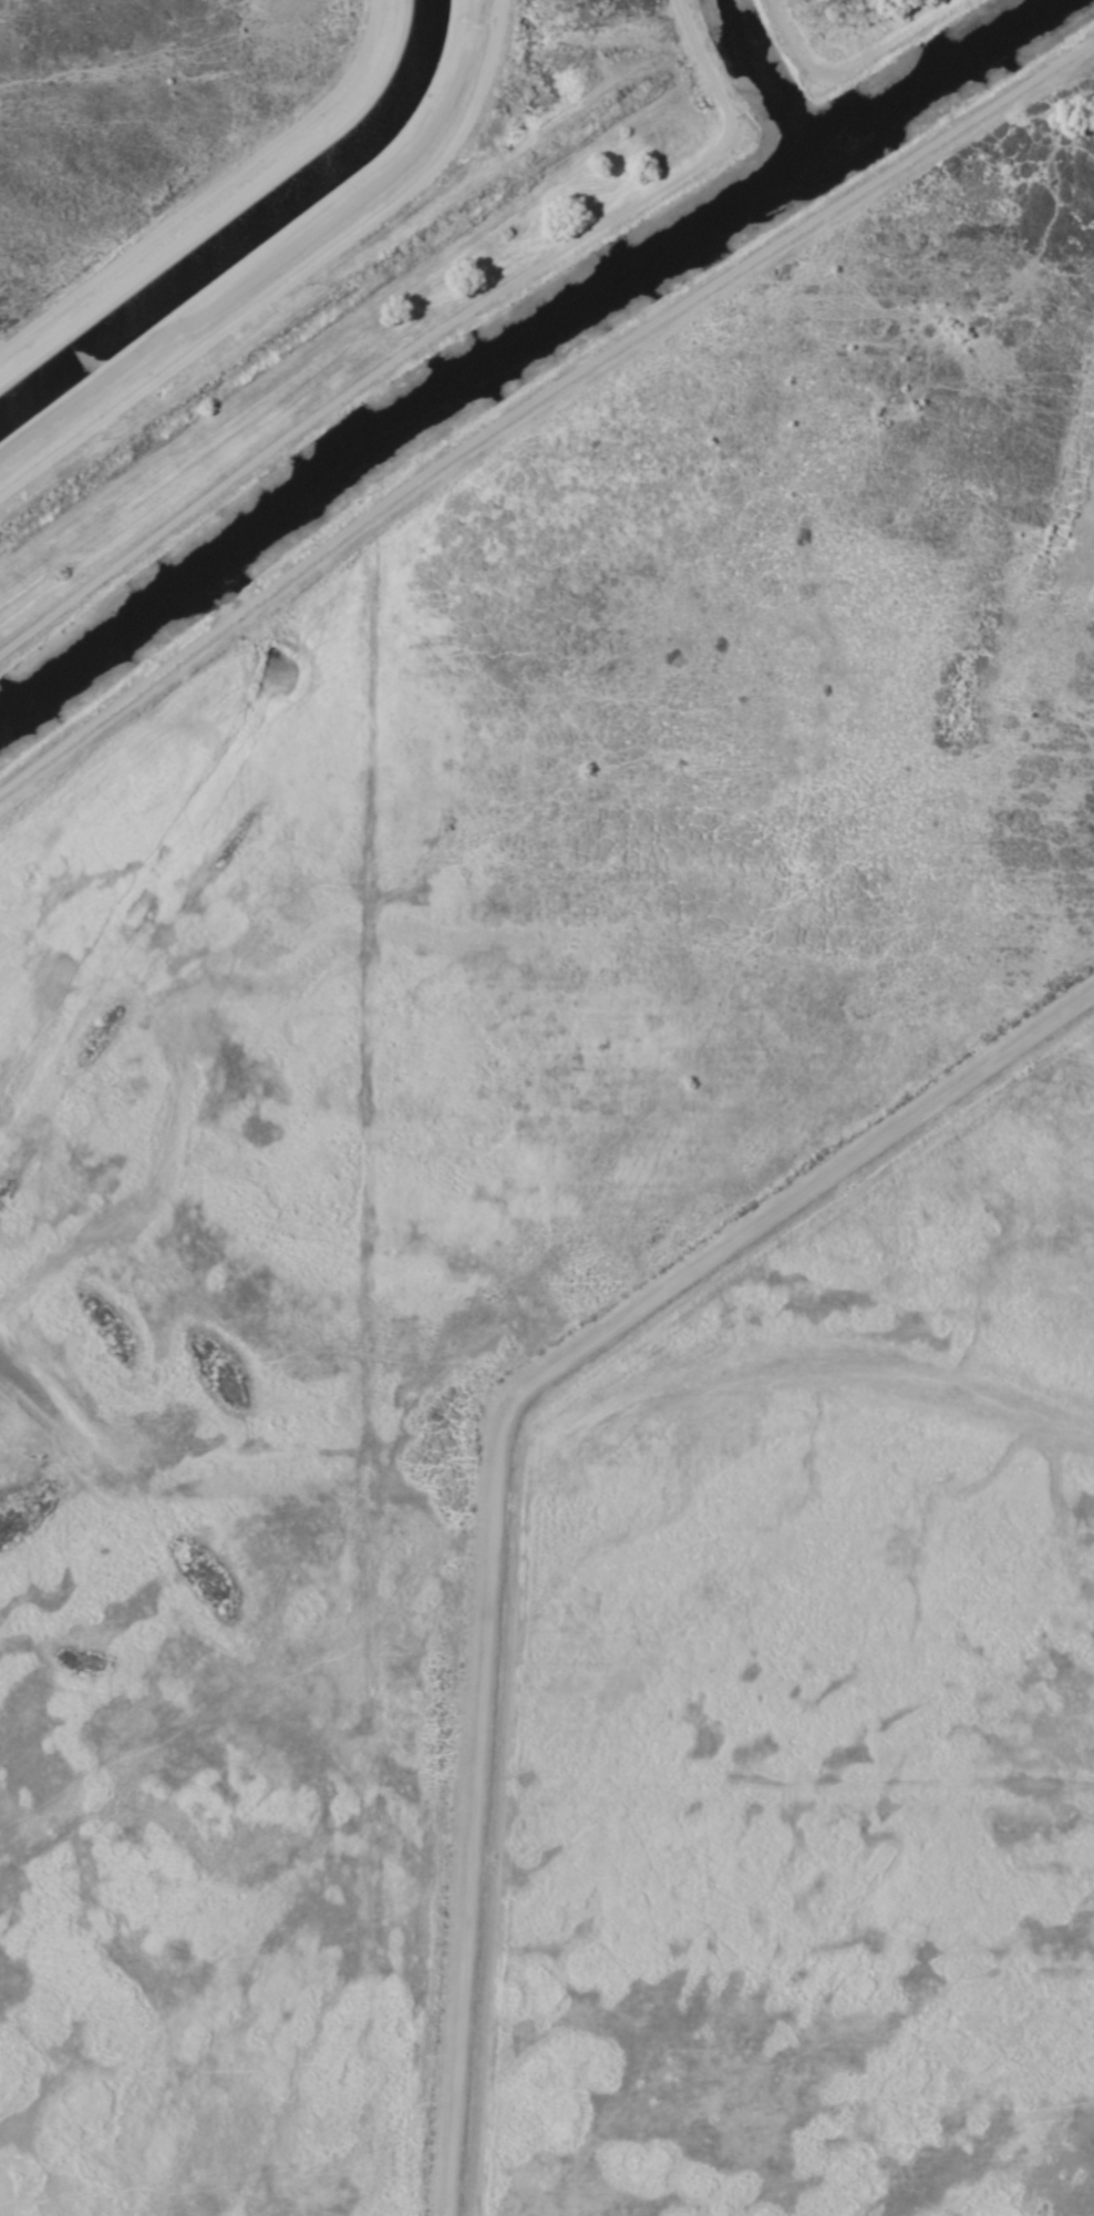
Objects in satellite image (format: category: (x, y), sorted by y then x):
crop: (149, 122)

